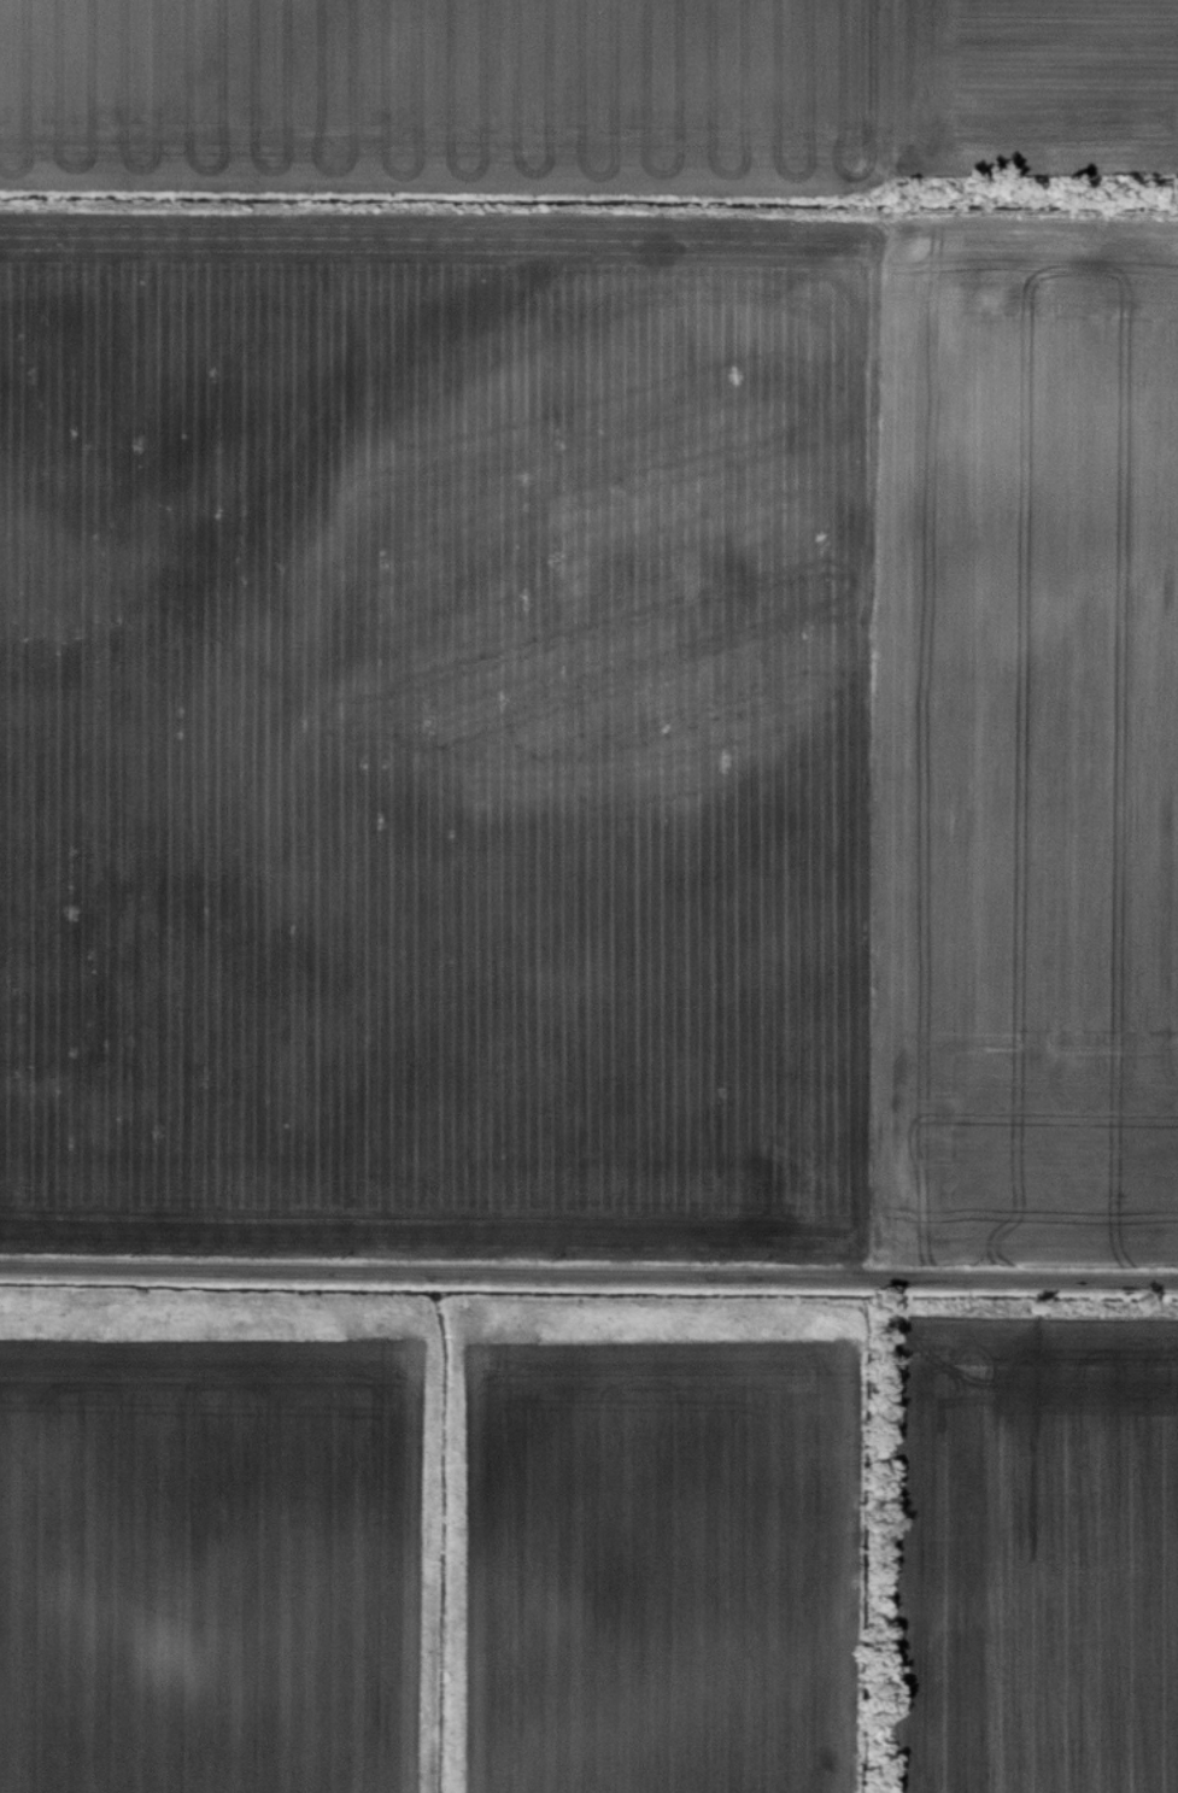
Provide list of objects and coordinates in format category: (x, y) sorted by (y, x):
road: (588, 1270)

